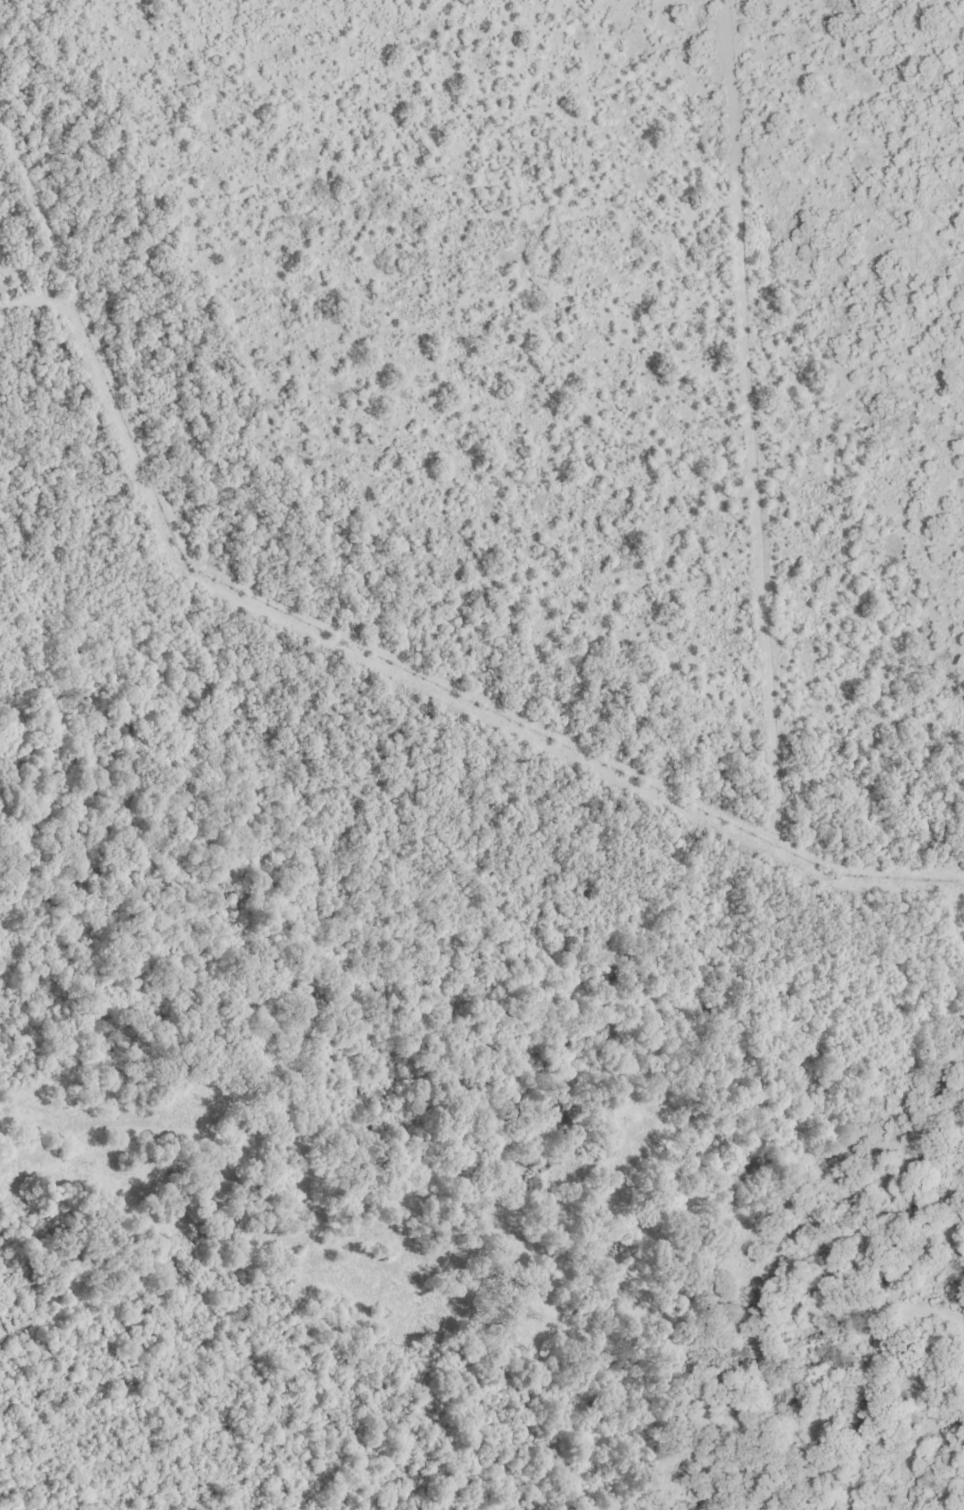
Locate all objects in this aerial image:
road: (375, 644)
road: (462, 1236)

